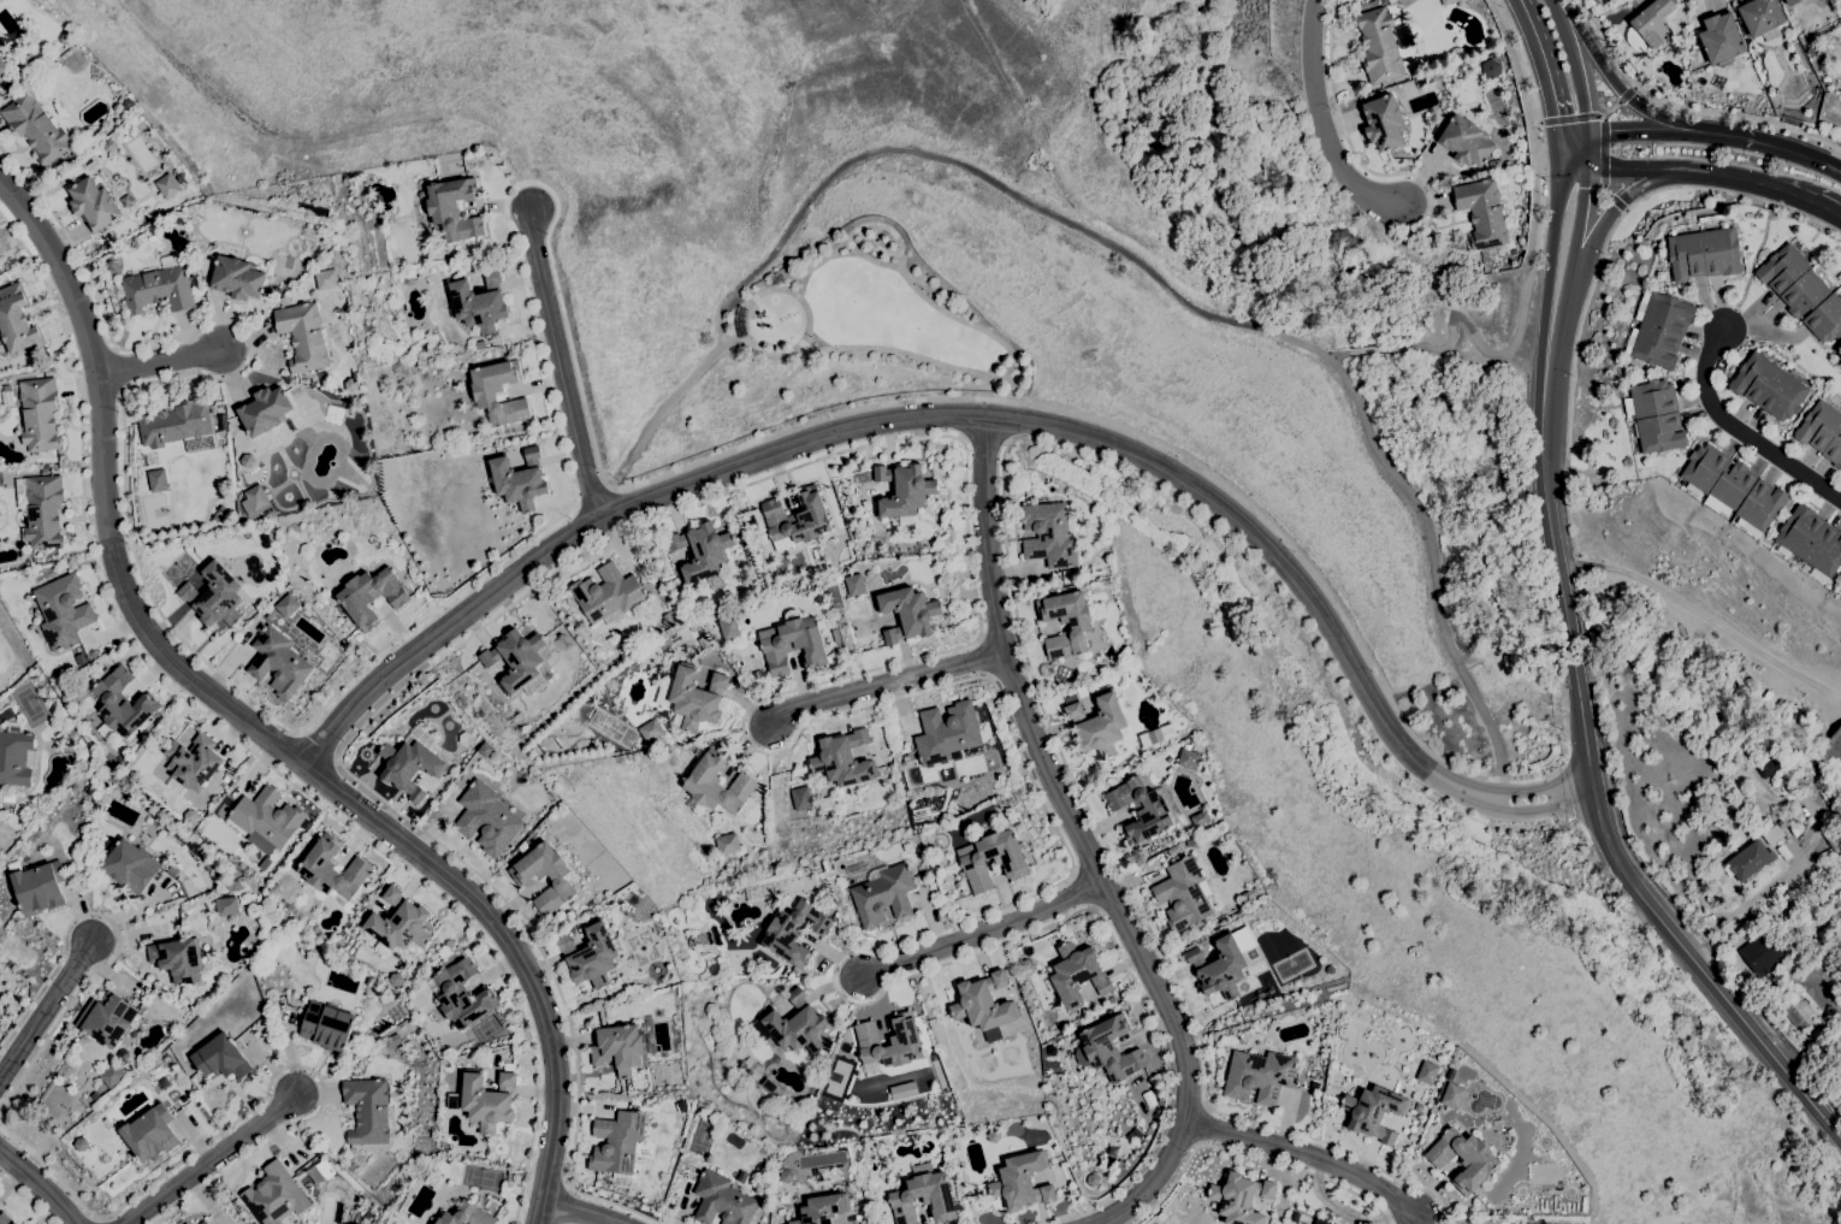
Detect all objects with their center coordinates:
building: (1448, 1)
building: (1792, 2)
building: (1760, 16)
building: (1650, 26)
building: (65, 39)
building: (1719, 40)
building: (1379, 46)
road: (1591, 48)
building: (1700, 51)
building: (1811, 52)
building: (1671, 55)
road: (1545, 65)
building: (2, 66)
road: (1574, 66)
building: (1491, 67)
building: (1750, 69)
building: (1688, 85)
road: (1626, 95)
building: (128, 104)
road: (1610, 108)
road: (1686, 110)
road: (1667, 117)
road: (1570, 118)
road: (1320, 123)
building: (1383, 123)
road: (1538, 126)
building: (35, 128)
road: (1650, 134)
traffic signals: (1558, 135)
road: (1573, 135)
traffic signals: (1587, 136)
road: (1733, 136)
building: (1466, 141)
building: (109, 146)
road: (1587, 152)
road: (1558, 153)
road: (1798, 153)
road: (1355, 159)
building: (87, 160)
building: (1494, 164)
road: (1604, 167)
traffic signals: (1587, 168)
traffic signals: (1558, 171)
road: (1688, 171)
building: (166, 185)
building: (94, 203)
road: (1615, 207)
building: (454, 208)
road: (1828, 209)
building: (1482, 213)
road: (1616, 221)
building: (202, 248)
road: (1113, 248)
building: (1704, 254)
road: (872, 260)
building: (202, 261)
road: (1549, 264)
road: (1569, 264)
building: (205, 270)
road: (905, 277)
building: (237, 278)
building: (326, 279)
building: (407, 279)
building: (159, 286)
road: (523, 286)
building: (1802, 292)
road: (786, 295)
building: (1644, 298)
building: (479, 303)
building: (17, 320)
building: (1659, 331)
building: (302, 336)
park: (830, 343)
road: (1487, 350)
road: (1381, 351)
road: (905, 354)
road: (1340, 355)
road: (161, 363)
road: (562, 365)
building: (350, 385)
building: (1768, 386)
building: (484, 395)
building: (265, 410)
building: (40, 414)
building: (1654, 416)
road: (976, 418)
road: (1008, 420)
building: (174, 424)
building: (223, 427)
road: (1738, 430)
building: (1822, 432)
road: (983, 438)
building: (519, 479)
building: (156, 480)
building: (1734, 489)
building: (904, 490)
building: (254, 502)
building: (1715, 505)
building: (41, 509)
building: (797, 518)
building: (1047, 533)
building: (1810, 540)
building: (702, 549)
building: (841, 556)
building: (812, 558)
road: (1558, 572)
building: (715, 580)
building: (854, 584)
building: (1840, 585)
building: (214, 596)
building: (371, 596)
building: (608, 596)
building: (818, 598)
building: (286, 605)
building: (63, 611)
building: (907, 613)
building: (271, 615)
building: (1079, 626)
building: (728, 627)
building: (836, 635)
building: (792, 643)
building: (517, 661)
building: (279, 662)
road: (887, 666)
road: (892, 690)
building: (695, 698)
building: (1765, 703)
building: (122, 705)
building: (1780, 709)
building: (519, 719)
building: (1099, 725)
road: (256, 726)
building: (651, 731)
building: (947, 732)
building: (60, 733)
building: (1156, 735)
building: (93, 739)
building: (466, 739)
road: (241, 744)
road: (316, 744)
building: (1831, 750)
building: (17, 756)
building: (495, 756)
building: (118, 757)
building: (1188, 757)
building: (843, 759)
building: (412, 762)
building: (191, 763)
building: (1766, 767)
building: (135, 775)
building: (534, 776)
building: (225, 779)
building: (716, 786)
building: (551, 794)
building: (8, 798)
building: (799, 799)
building: (1144, 808)
building: (267, 817)
building: (486, 818)
building: (1200, 818)
building: (1784, 821)
building: (1756, 822)
building: (1796, 830)
building: (1772, 834)
building: (144, 838)
building: (1739, 840)
road: (1084, 842)
building: (1190, 842)
building: (727, 844)
building: (907, 847)
building: (1173, 850)
building: (1750, 859)
building: (1010, 862)
building: (77, 863)
building: (130, 867)
building: (331, 870)
building: (171, 871)
building: (522, 879)
park: (195, 883)
building: (37, 887)
building: (274, 889)
building: (883, 894)
building: (1182, 894)
building: (1249, 894)
road: (1136, 905)
building: (225, 906)
building: (292, 909)
building: (8, 924)
building: (398, 924)
building: (794, 932)
road: (984, 932)
road: (117, 939)
building: (1817, 946)
building: (353, 948)
building: (1782, 948)
building: (1757, 953)
building: (587, 956)
building: (178, 959)
building: (205, 959)
road: (1693, 962)
building: (1026, 963)
building: (1218, 966)
building: (1073, 975)
building: (396, 978)
building: (461, 994)
building: (981, 1001)
building: (6, 1010)
building: (1795, 1010)
road: (45, 1015)
building: (107, 1019)
building: (384, 1023)
building: (793, 1025)
building: (326, 1027)
building: (369, 1035)
building: (905, 1041)
building: (618, 1048)
building: (1112, 1049)
building: (363, 1054)
building: (220, 1058)
building: (87, 1071)
building: (1427, 1072)
building: (112, 1076)
building: (1257, 1076)
building: (1446, 1076)
building: (164, 1083)
building: (769, 1086)
building: (901, 1090)
building: (94, 1095)
building: (1452, 1095)
building: (454, 1100)
building: (487, 1101)
building: (1417, 1107)
road: (250, 1110)
building: (367, 1111)
building: (1374, 1112)
building: (108, 1125)
road: (1833, 1129)
building: (149, 1134)
building: (443, 1142)
building: (616, 1142)
building: (81, 1143)
road: (1309, 1153)
road: (1250, 1157)
road: (213, 1159)
building: (1463, 1159)
building: (741, 1176)
building: (786, 1176)
building: (433, 1179)
building: (1020, 1181)
road: (40, 1184)
building: (1036, 1187)
building: (314, 1192)
building: (274, 1195)
building: (923, 1196)
road: (25, 1198)
building: (1241, 1199)
building: (722, 1200)
road: (564, 1205)
building: (821, 1208)
road: (581, 1211)
building: (466, 1216)
building: (5, 1219)
building: (203, 1222)
building: (1321, 1222)
building: (187, 1223)

